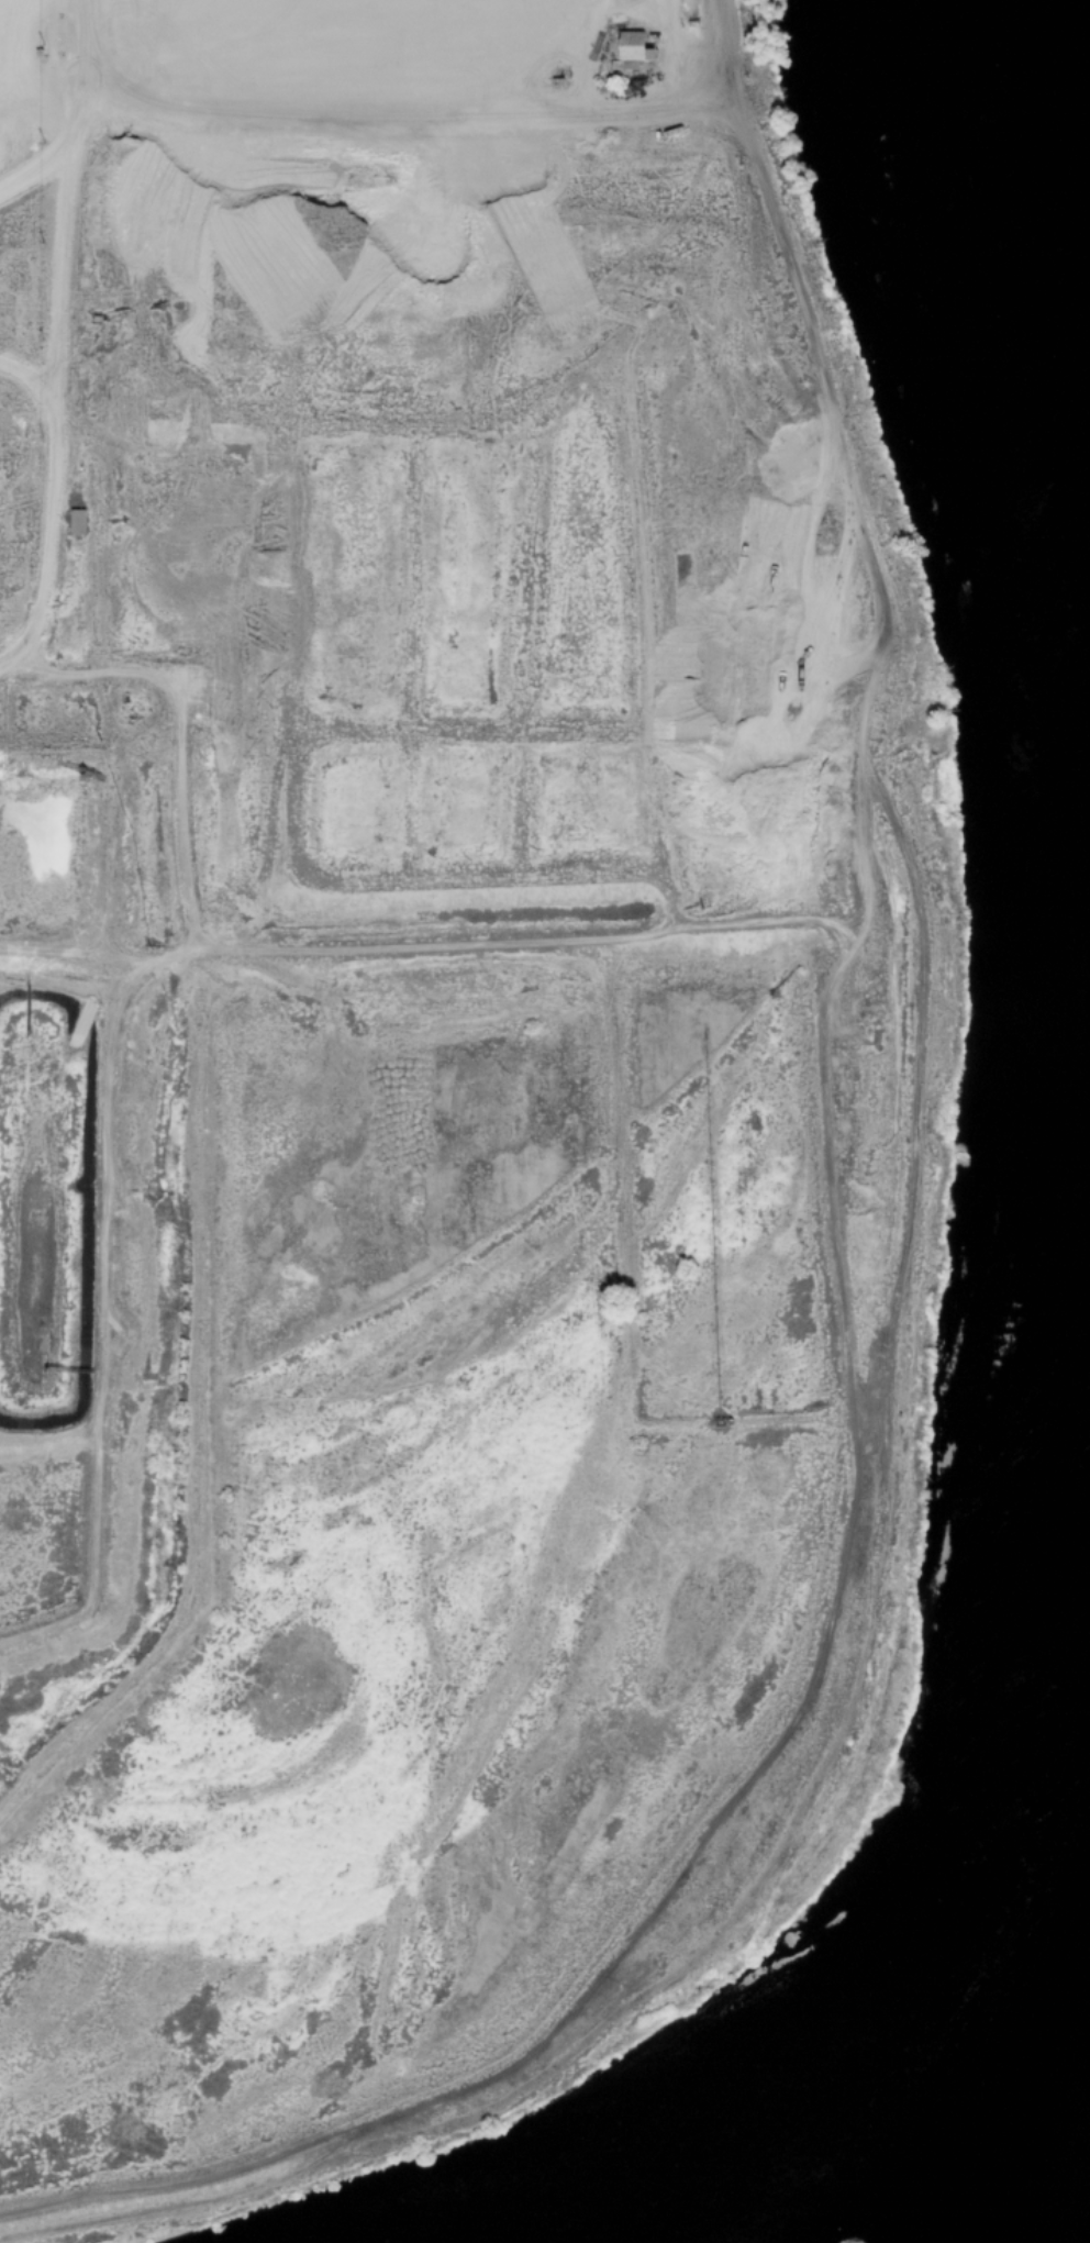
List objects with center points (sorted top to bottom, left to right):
building: (610, 16)
building: (688, 34)
building: (649, 38)
road: (580, 46)
building: (627, 46)
building: (553, 82)
road: (408, 104)
road: (33, 176)
river: (1044, 178)
road: (51, 363)
road: (25, 377)
building: (75, 521)
road: (900, 1225)
river: (947, 1942)

